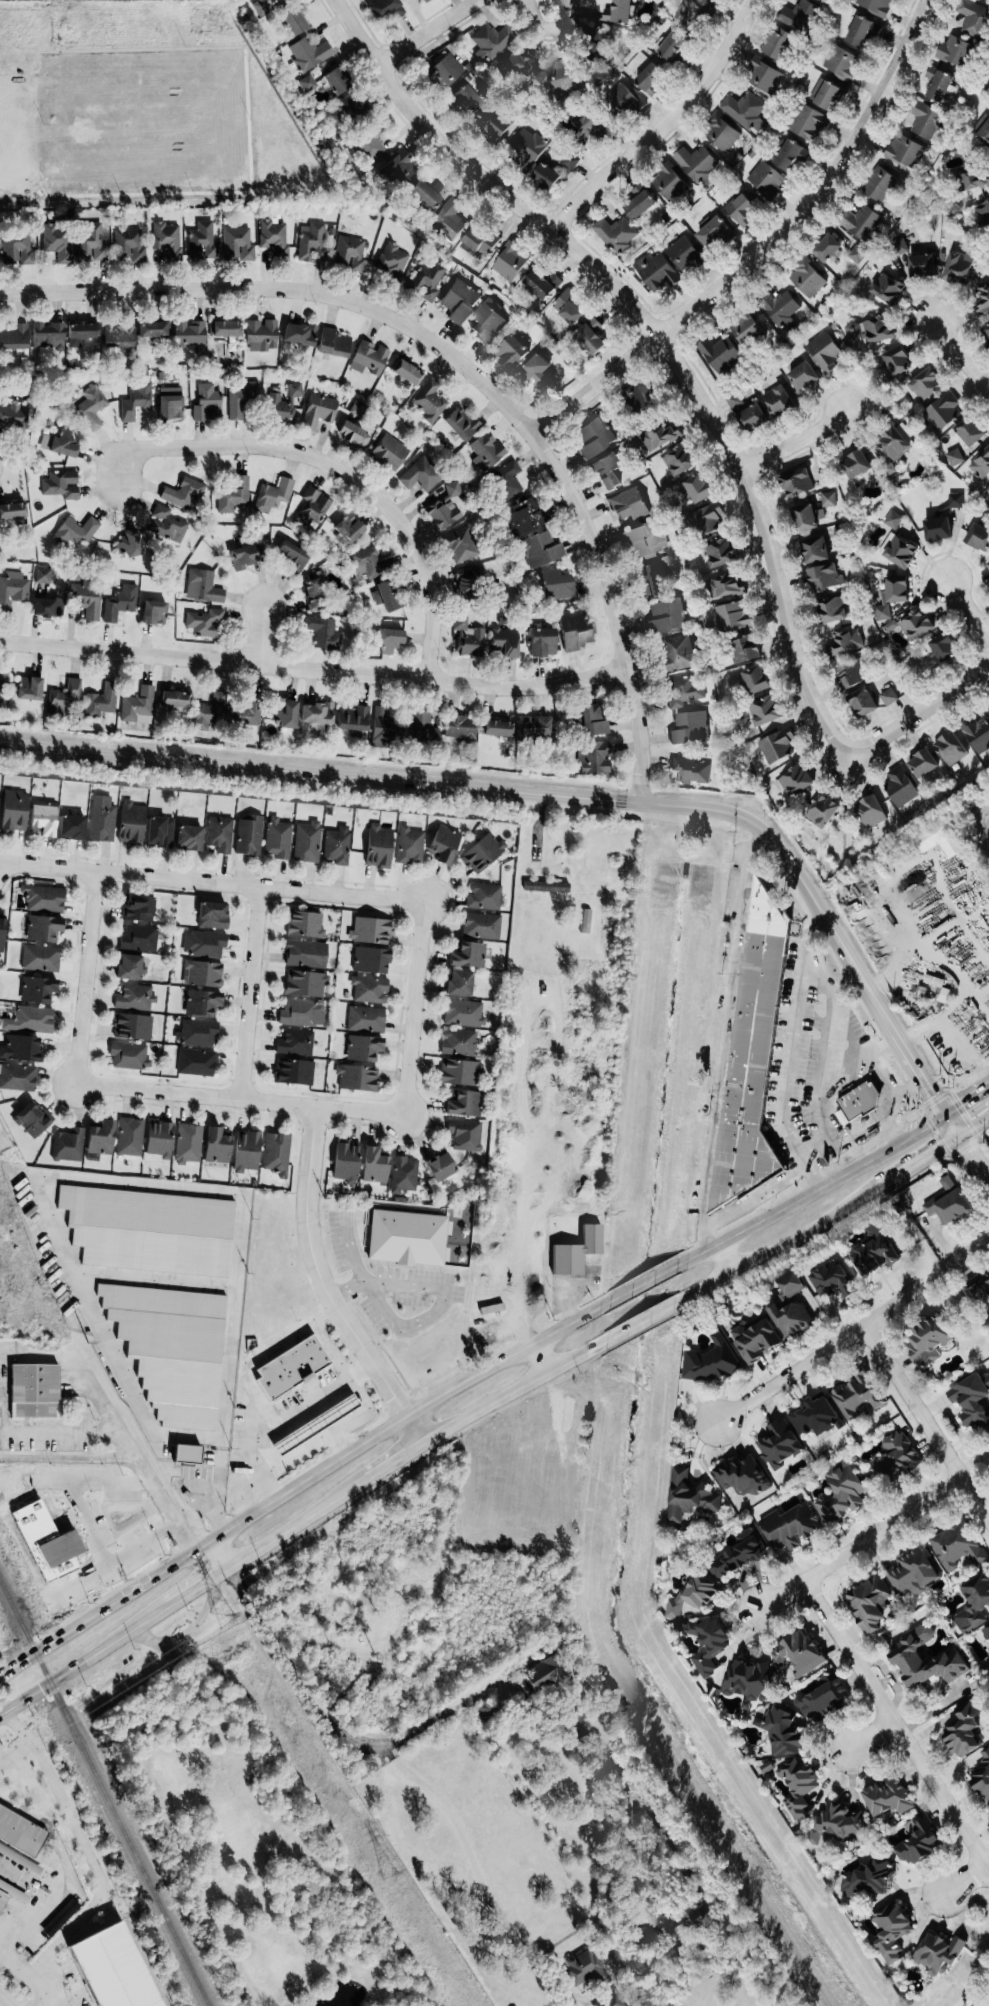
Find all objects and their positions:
building: (271, 0)
building: (404, 0)
building: (714, 0)
building: (425, 1)
building: (875, 6)
building: (261, 7)
building: (387, 9)
building: (618, 12)
building: (692, 13)
building: (798, 15)
building: (292, 19)
building: (975, 19)
road: (549, 30)
building: (863, 31)
road: (429, 34)
building: (493, 40)
building: (776, 44)
building: (672, 46)
building: (597, 47)
building: (956, 52)
building: (309, 54)
building: (842, 64)
building: (445, 70)
building: (766, 77)
building: (650, 78)
building: (336, 81)
building: (307, 83)
building: (939, 87)
building: (825, 95)
building: (624, 100)
building: (468, 101)
building: (349, 109)
building: (745, 111)
building: (926, 121)
building: (808, 123)
building: (496, 124)
building: (587, 125)
road: (664, 126)
road: (425, 130)
building: (983, 132)
building: (721, 133)
building: (371, 143)
building: (528, 147)
building: (905, 151)
building: (791, 155)
building: (570, 162)
building: (696, 164)
building: (398, 168)
building: (546, 177)
building: (766, 180)
building: (975, 181)
building: (668, 183)
building: (880, 185)
building: (426, 194)
building: (639, 205)
building: (741, 210)
building: (984, 212)
building: (450, 219)
building: (861, 222)
building: (715, 233)
building: (616, 234)
building: (273, 236)
building: (165, 237)
building: (203, 242)
building: (58, 243)
building: (91, 243)
building: (313, 243)
building: (479, 243)
building: (128, 245)
building: (238, 245)
building: (900, 247)
building: (16, 249)
building: (827, 249)
road: (766, 250)
building: (350, 254)
building: (684, 254)
building: (858, 254)
building: (392, 262)
building: (511, 262)
building: (922, 265)
building: (959, 268)
building: (656, 273)
building: (807, 279)
building: (427, 280)
road: (606, 281)
building: (542, 284)
building: (888, 290)
building: (982, 299)
building: (459, 301)
building: (493, 305)
building: (568, 309)
building: (780, 309)
building: (487, 324)
building: (746, 329)
building: (151, 330)
building: (224, 330)
building: (872, 331)
building: (986, 332)
building: (190, 333)
building: (81, 334)
building: (47, 335)
building: (299, 335)
building: (118, 336)
building: (262, 336)
building: (591, 336)
building: (14, 339)
building: (333, 343)
building: (825, 352)
building: (511, 353)
building: (720, 354)
road: (959, 354)
building: (368, 359)
building: (897, 361)
road: (465, 368)
building: (406, 373)
building: (538, 373)
building: (803, 377)
building: (925, 385)
building: (295, 390)
building: (639, 397)
building: (243, 400)
building: (429, 401)
building: (778, 401)
building: (136, 402)
building: (735, 402)
building: (170, 404)
building: (207, 404)
building: (278, 407)
building: (92, 408)
building: (358, 409)
building: (319, 411)
building: (944, 411)
building: (12, 418)
building: (753, 418)
building: (462, 424)
building: (971, 431)
building: (353, 435)
building: (594, 437)
building: (661, 438)
building: (896, 441)
road: (796, 443)
building: (59, 444)
building: (487, 451)
building: (390, 452)
building: (955, 458)
building: (680, 461)
building: (981, 465)
building: (856, 466)
road: (335, 468)
building: (608, 471)
building: (421, 476)
building: (507, 479)
building: (796, 484)
building: (61, 485)
building: (453, 489)
building: (696, 489)
building: (183, 493)
building: (233, 496)
building: (273, 496)
building: (829, 500)
building: (956, 501)
building: (629, 505)
building: (312, 509)
building: (12, 511)
building: (443, 514)
building: (525, 518)
building: (808, 518)
building: (706, 521)
building: (893, 521)
building: (168, 525)
building: (347, 530)
building: (938, 530)
building: (75, 532)
building: (978, 539)
building: (646, 540)
road: (766, 541)
building: (128, 544)
building: (461, 546)
building: (541, 550)
building: (815, 551)
building: (901, 553)
building: (720, 554)
building: (243, 558)
building: (290, 558)
building: (368, 563)
building: (988, 564)
building: (42, 576)
building: (825, 578)
building: (468, 581)
building: (725, 585)
building: (557, 586)
building: (203, 587)
building: (13, 592)
building: (314, 593)
building: (892, 597)
building: (86, 599)
building: (385, 599)
building: (120, 604)
building: (45, 608)
building: (833, 610)
road: (968, 611)
building: (153, 614)
building: (668, 616)
building: (733, 617)
building: (204, 623)
building: (916, 626)
building: (890, 627)
road: (260, 632)
building: (574, 632)
building: (322, 633)
building: (468, 638)
building: (389, 641)
building: (847, 641)
building: (542, 643)
building: (504, 644)
building: (944, 648)
building: (745, 650)
building: (678, 654)
road: (313, 672)
building: (852, 677)
building: (3, 681)
building: (754, 682)
building: (29, 689)
building: (683, 692)
building: (889, 697)
building: (64, 698)
building: (173, 700)
building: (101, 701)
building: (863, 704)
building: (138, 707)
road: (918, 710)
building: (209, 712)
building: (765, 713)
building: (316, 715)
building: (285, 716)
building: (353, 720)
building: (592, 722)
building: (420, 724)
building: (387, 727)
building: (460, 728)
building: (533, 728)
building: (496, 729)
building: (690, 729)
building: (978, 735)
building: (777, 747)
building: (951, 749)
building: (594, 759)
building: (923, 765)
building: (692, 772)
road: (319, 773)
building: (794, 782)
building: (901, 787)
building: (13, 811)
building: (822, 812)
building: (871, 813)
building: (42, 818)
building: (102, 819)
building: (131, 823)
building: (71, 827)
building: (160, 831)
building: (220, 834)
building: (249, 836)
building: (188, 837)
building: (278, 839)
building: (939, 840)
building: (308, 842)
building: (443, 843)
building: (337, 845)
building: (410, 846)
building: (379, 847)
building: (482, 852)
road: (211, 884)
building: (546, 887)
building: (484, 897)
building: (44, 899)
building: (138, 908)
building: (213, 915)
building: (304, 925)
building: (482, 926)
road: (829, 926)
building: (44, 928)
building: (371, 931)
building: (2, 934)
building: (139, 938)
building: (204, 944)
building: (305, 954)
building: (468, 955)
building: (41, 958)
building: (370, 960)
building: (130, 966)
building: (204, 974)
road: (85, 979)
building: (306, 983)
building: (459, 983)
building: (38, 990)
building: (369, 990)
road: (248, 995)
building: (135, 997)
building: (202, 1003)
road: (414, 1010)
building: (301, 1013)
building: (464, 1014)
building: (366, 1019)
building: (30, 1020)
road: (725, 1026)
building: (132, 1027)
road: (917, 1031)
building: (197, 1033)
building: (459, 1042)
building: (295, 1043)
building: (364, 1048)
building: (21, 1049)
road: (791, 1052)
building: (129, 1056)
building: (197, 1062)
road: (828, 1062)
building: (294, 1072)
building: (461, 1072)
road: (882, 1074)
building: (18, 1077)
building: (357, 1078)
road: (239, 1101)
building: (861, 1101)
road: (967, 1101)
road: (888, 1103)
building: (464, 1104)
traffic signals: (945, 1115)
building: (843, 1118)
building: (32, 1120)
road: (974, 1128)
building: (466, 1135)
road: (856, 1135)
building: (130, 1137)
building: (100, 1138)
traffic signals: (959, 1138)
building: (158, 1140)
building: (188, 1144)
building: (68, 1146)
building: (215, 1146)
building: (246, 1151)
building: (277, 1154)
road: (974, 1160)
road: (919, 1162)
building: (374, 1166)
building: (439, 1167)
building: (404, 1175)
road: (141, 1186)
road: (810, 1191)
building: (948, 1202)
road: (731, 1210)
building: (150, 1231)
building: (407, 1238)
road: (778, 1247)
building: (873, 1252)
building: (576, 1253)
road: (971, 1253)
building: (831, 1279)
road: (642, 1284)
building: (790, 1284)
building: (977, 1287)
road: (324, 1288)
road: (443, 1295)
road: (891, 1307)
building: (492, 1309)
building: (791, 1319)
road: (639, 1324)
building: (756, 1340)
building: (928, 1342)
power tower: (87, 1344)
building: (172, 1349)
road: (540, 1358)
building: (711, 1362)
building: (291, 1367)
road: (790, 1377)
road: (250, 1386)
building: (33, 1391)
road: (511, 1391)
road: (362, 1393)
building: (858, 1395)
building: (971, 1401)
road: (307, 1405)
building: (815, 1417)
road: (926, 1423)
road: (124, 1432)
building: (779, 1445)
building: (186, 1454)
building: (895, 1457)
road: (392, 1461)
building: (743, 1476)
road: (301, 1481)
building: (841, 1493)
building: (689, 1496)
road: (289, 1526)
road: (861, 1543)
building: (959, 1548)
building: (738, 1556)
building: (914, 1574)
road: (191, 1590)
building: (693, 1598)
building: (870, 1603)
building: (974, 1605)
power tower: (225, 1616)
road: (185, 1627)
building: (986, 1632)
building: (707, 1644)
building: (988, 1651)
building: (798, 1654)
road: (83, 1659)
building: (907, 1660)
building: (538, 1675)
building: (749, 1681)
building: (824, 1697)
road: (895, 1728)
building: (963, 1730)
building: (781, 1732)
road: (872, 1739)
road: (404, 1742)
building: (767, 1767)
building: (982, 1776)
building: (799, 1787)
railway: (104, 1794)
building: (888, 1797)
building: (838, 1824)
road: (167, 1830)
building: (20, 1833)
building: (919, 1842)
road: (87, 1848)
road: (639, 1867)
power tower: (389, 1873)
building: (869, 1880)
road: (965, 1882)
road: (481, 1897)
building: (2, 1901)
road: (550, 1918)
building: (891, 1932)
building: (939, 1955)
building: (110, 1969)
building: (585, 1969)
road: (27, 1980)
road: (50, 2000)
building: (610, 2000)
road: (2, 2003)

